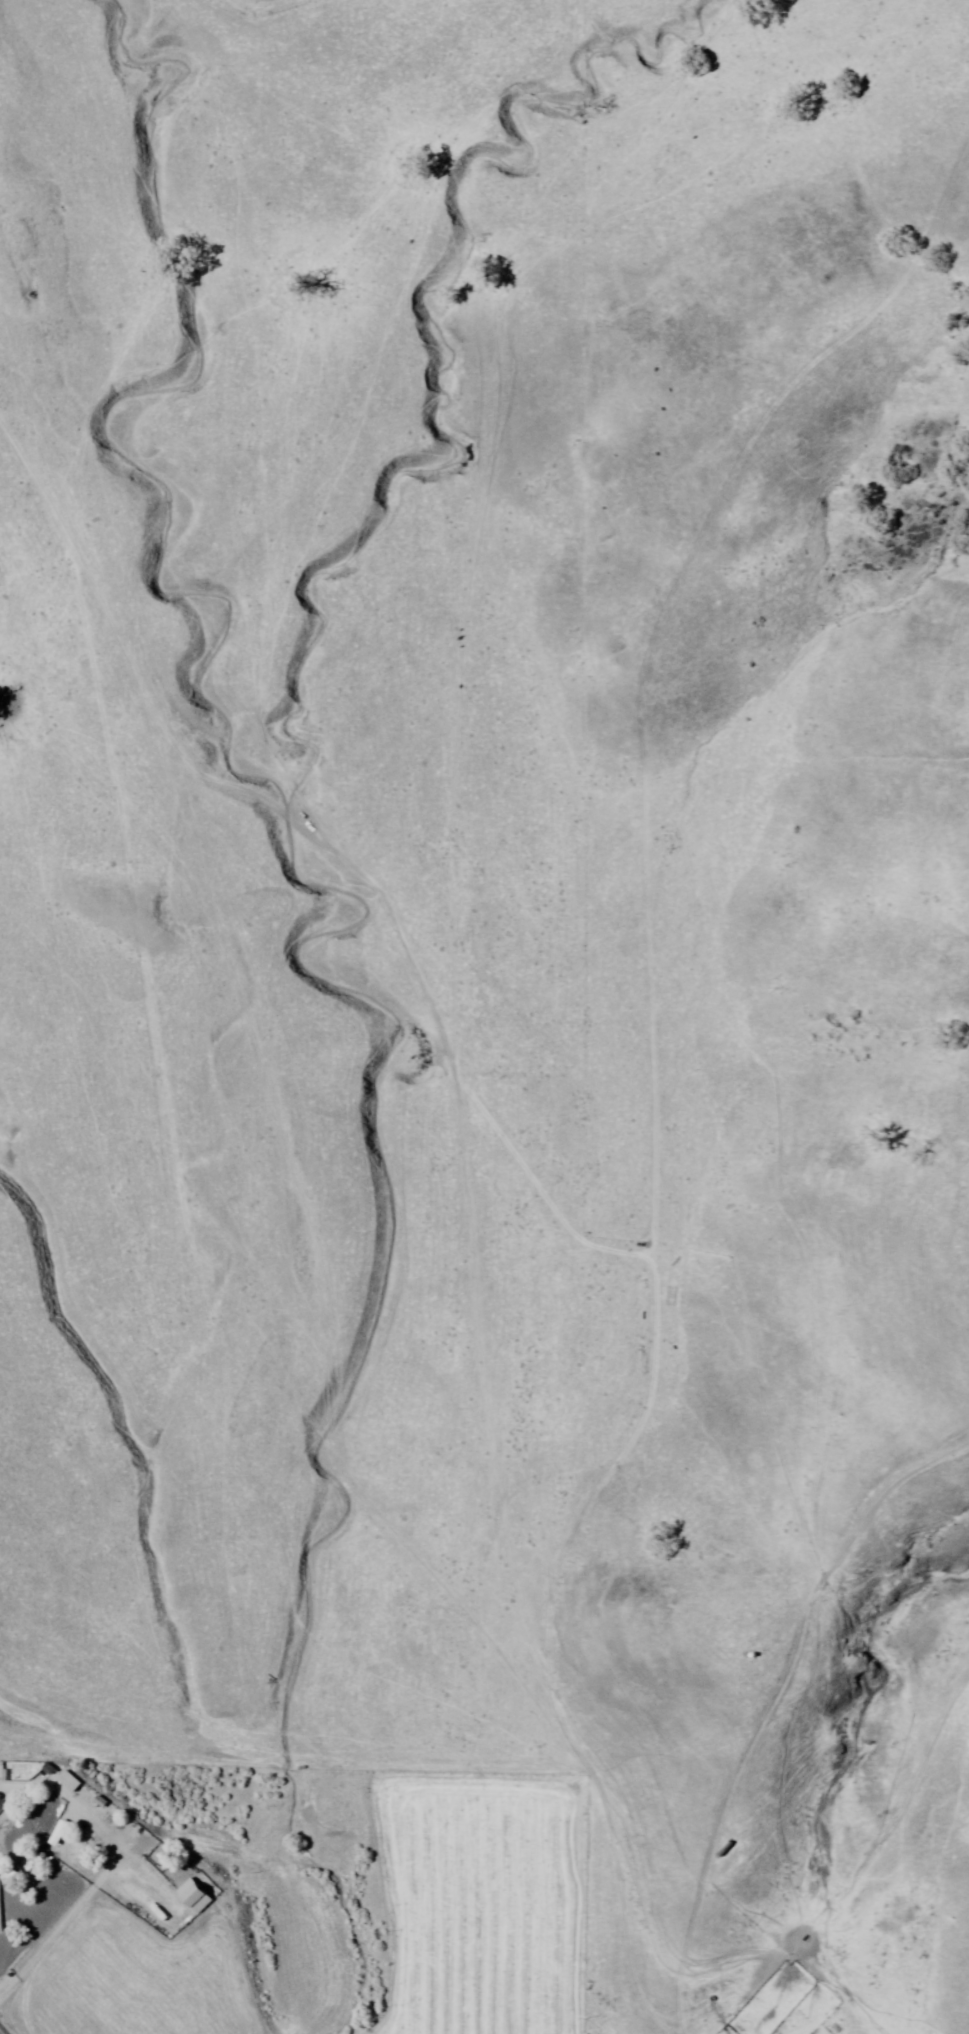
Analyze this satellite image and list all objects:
road: (653, 1064)
crop: (525, 1211)
road: (770, 1702)
building: (59, 1778)
building: (2, 1805)
building: (47, 1830)
building: (26, 1865)
building: (189, 1897)
building: (0, 1927)
road: (2, 2031)

